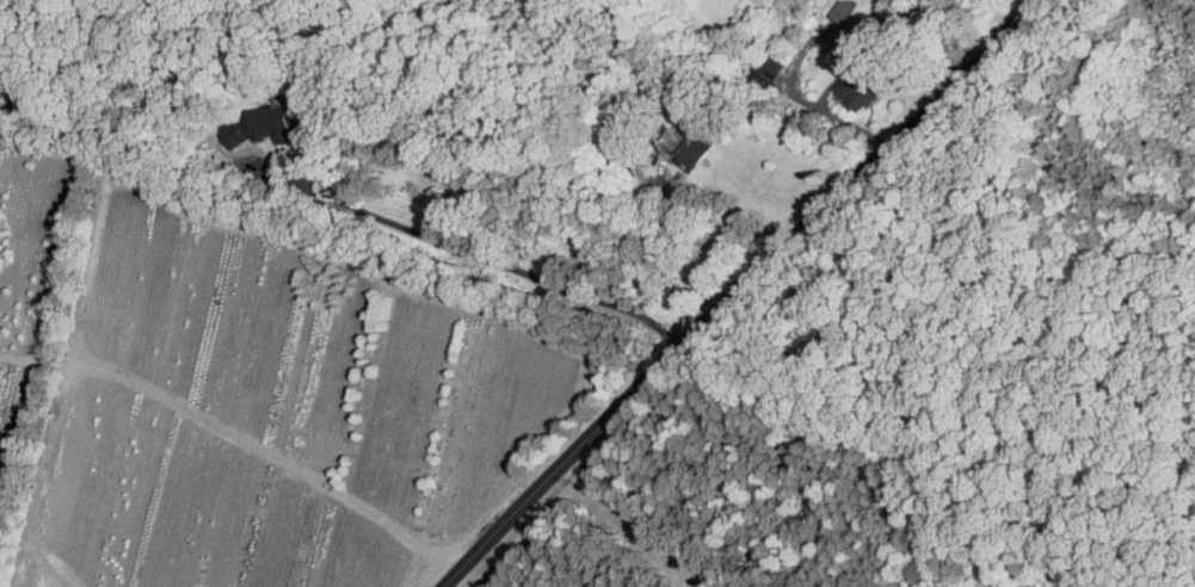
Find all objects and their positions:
building: (844, 11)
building: (899, 27)
building: (772, 68)
building: (858, 87)
building: (264, 125)
building: (690, 147)
road: (731, 211)
road: (476, 255)
road: (740, 290)

